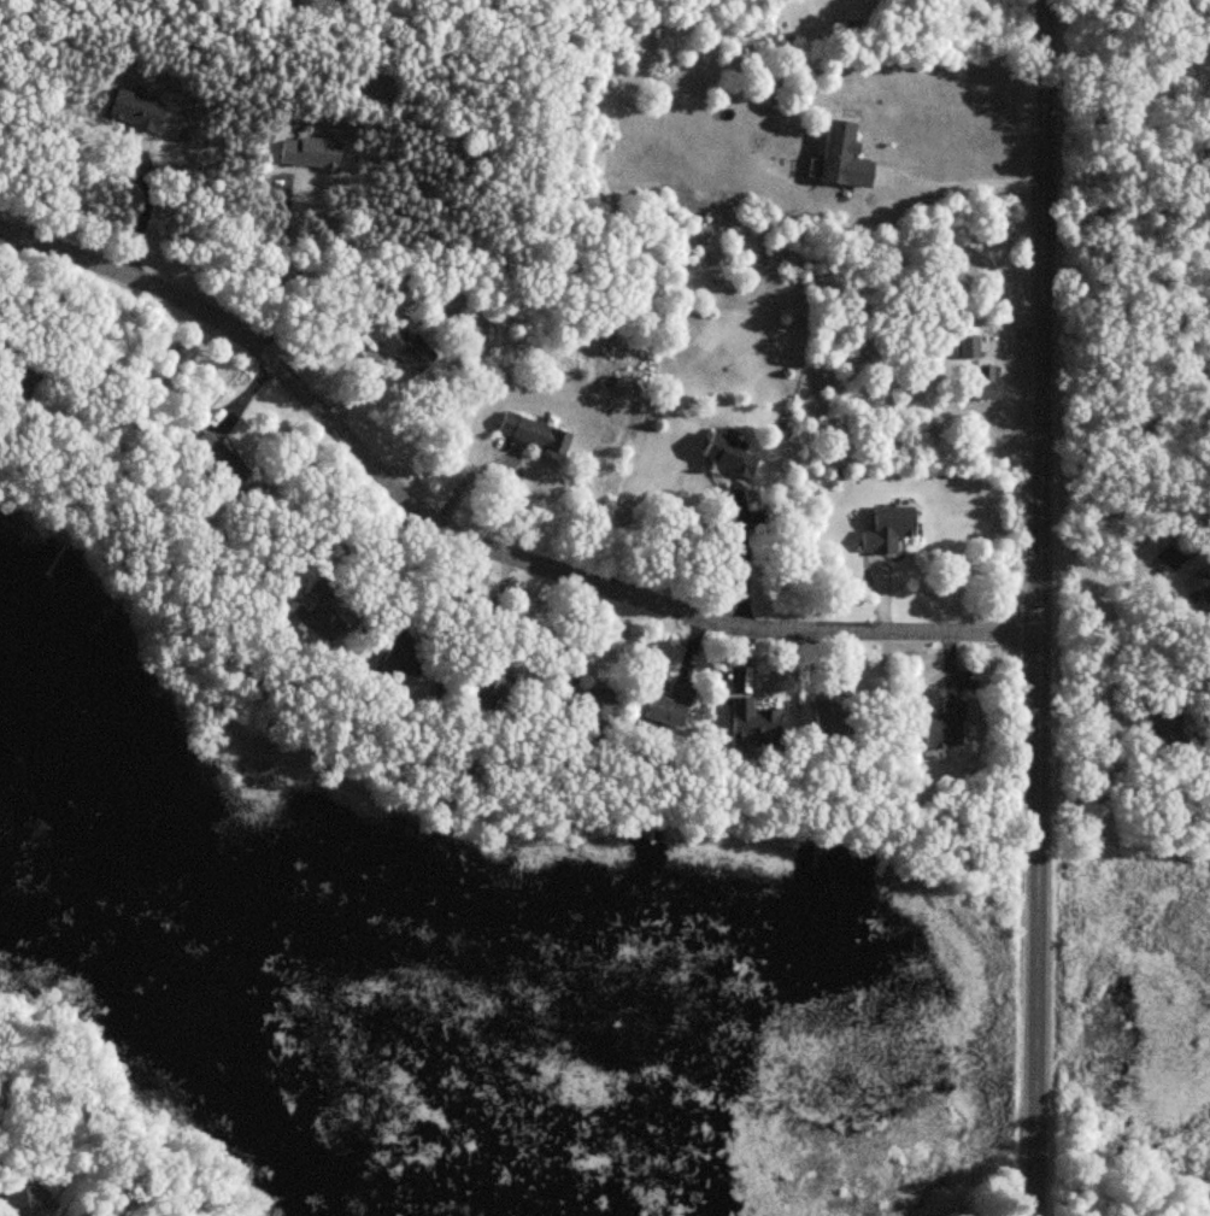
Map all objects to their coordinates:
building: (134, 110)
building: (309, 153)
building: (842, 157)
road: (973, 184)
road: (143, 208)
road: (278, 271)
building: (407, 346)
building: (968, 347)
building: (22, 381)
building: (982, 382)
building: (534, 433)
building: (728, 454)
building: (218, 460)
building: (887, 529)
road: (472, 540)
road: (745, 559)
road: (1097, 571)
building: (1199, 586)
road: (1038, 607)
building: (321, 611)
building: (404, 651)
building: (492, 685)
building: (585, 704)
building: (668, 706)
building: (752, 719)
building: (1159, 721)
building: (833, 722)
building: (945, 726)
road: (1106, 788)
building: (25, 1202)

